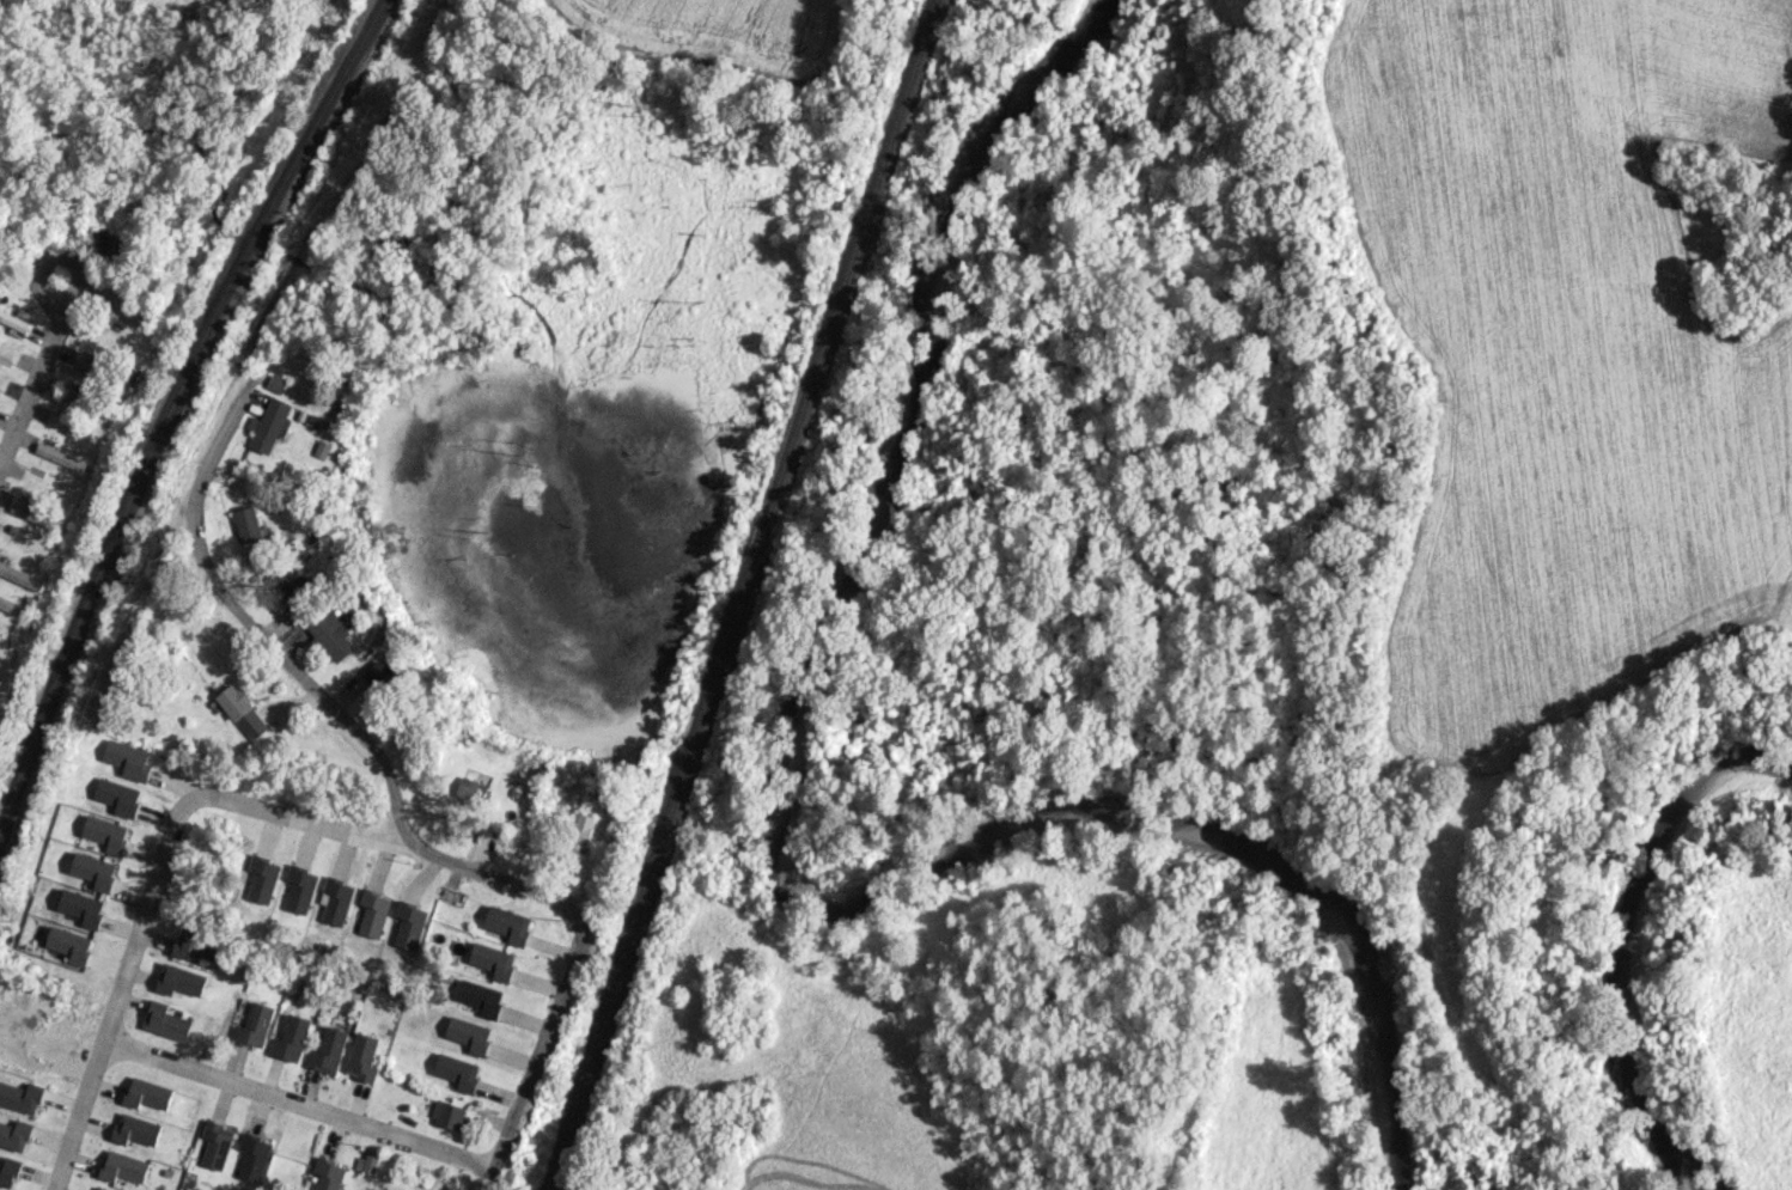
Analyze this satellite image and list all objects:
building: (12, 319)
building: (111, 329)
building: (6, 348)
building: (84, 366)
road: (32, 382)
building: (73, 397)
railway: (171, 407)
building: (269, 425)
building: (60, 457)
building: (37, 515)
building: (246, 524)
building: (22, 576)
building: (287, 584)
railway: (742, 594)
building: (7, 604)
building: (331, 633)
road: (264, 634)
building: (379, 675)
building: (242, 710)
building: (128, 759)
building: (470, 789)
building: (117, 795)
road: (293, 817)
building: (578, 829)
building: (105, 832)
river: (778, 843)
building: (93, 869)
building: (262, 879)
building: (299, 889)
building: (335, 901)
building: (81, 907)
building: (373, 913)
building: (507, 923)
building: (410, 924)
river: (1633, 935)
building: (69, 944)
building: (195, 945)
building: (493, 959)
road: (571, 962)
building: (179, 980)
road: (118, 988)
building: (480, 996)
building: (165, 1020)
building: (255, 1025)
building: (468, 1033)
building: (291, 1038)
building: (328, 1050)
building: (362, 1057)
building: (457, 1070)
building: (145, 1092)
building: (20, 1094)
road: (297, 1105)
building: (447, 1115)
building: (134, 1128)
building: (13, 1133)
building: (214, 1142)
building: (252, 1157)
building: (366, 1162)
building: (122, 1165)
building: (7, 1168)
building: (328, 1174)
building: (100, 1188)

